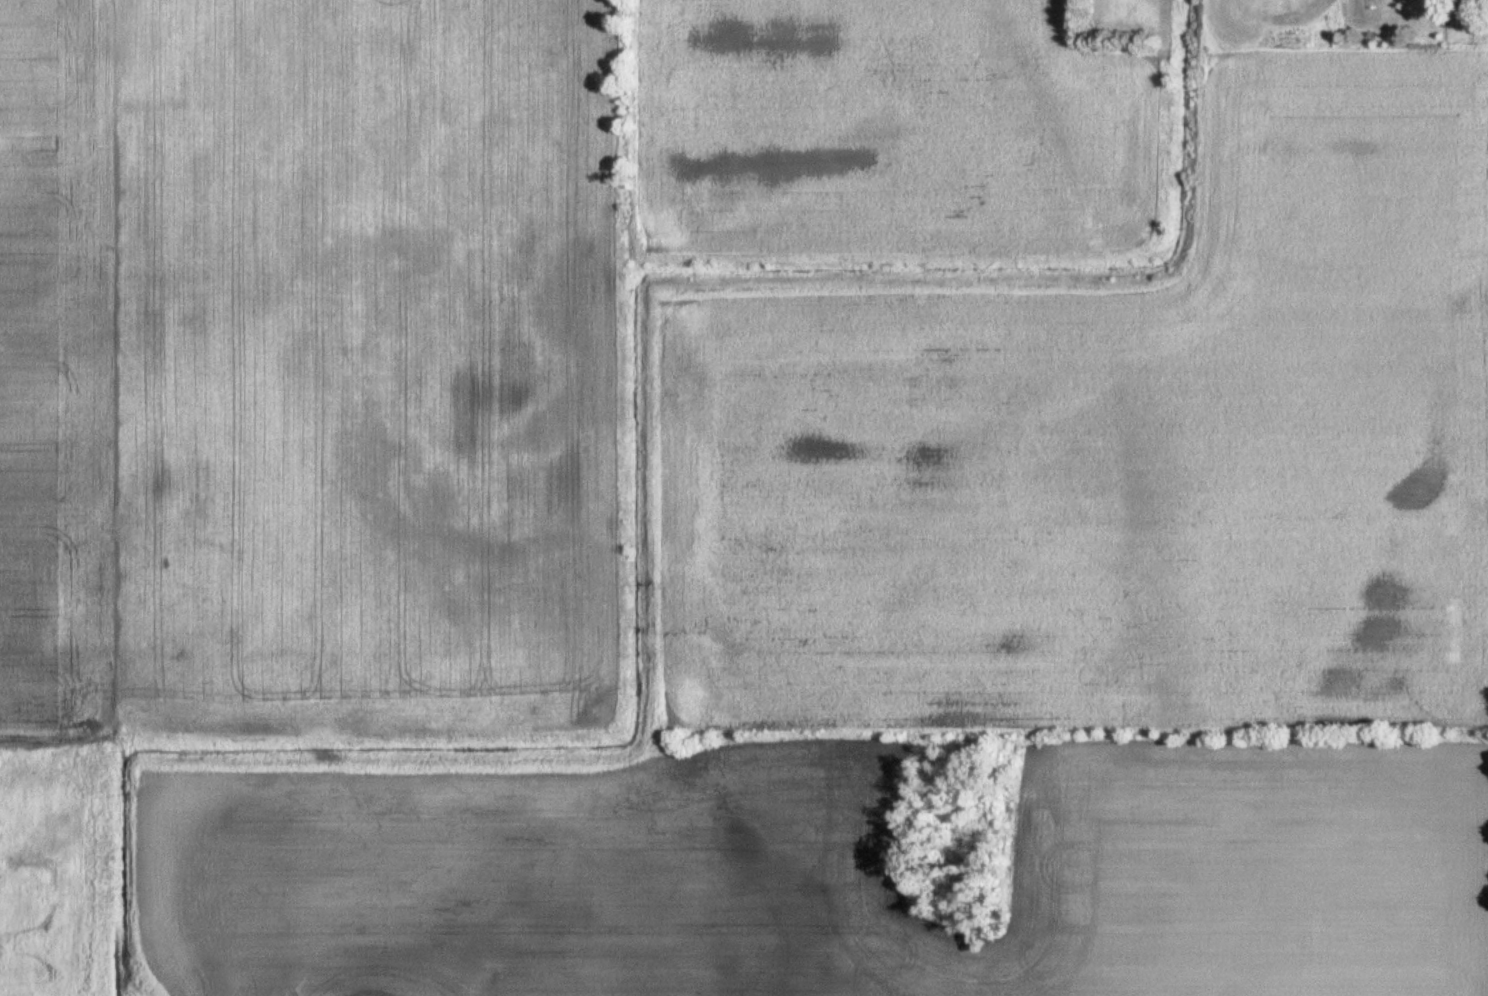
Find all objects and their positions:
building: (1478, 17)

